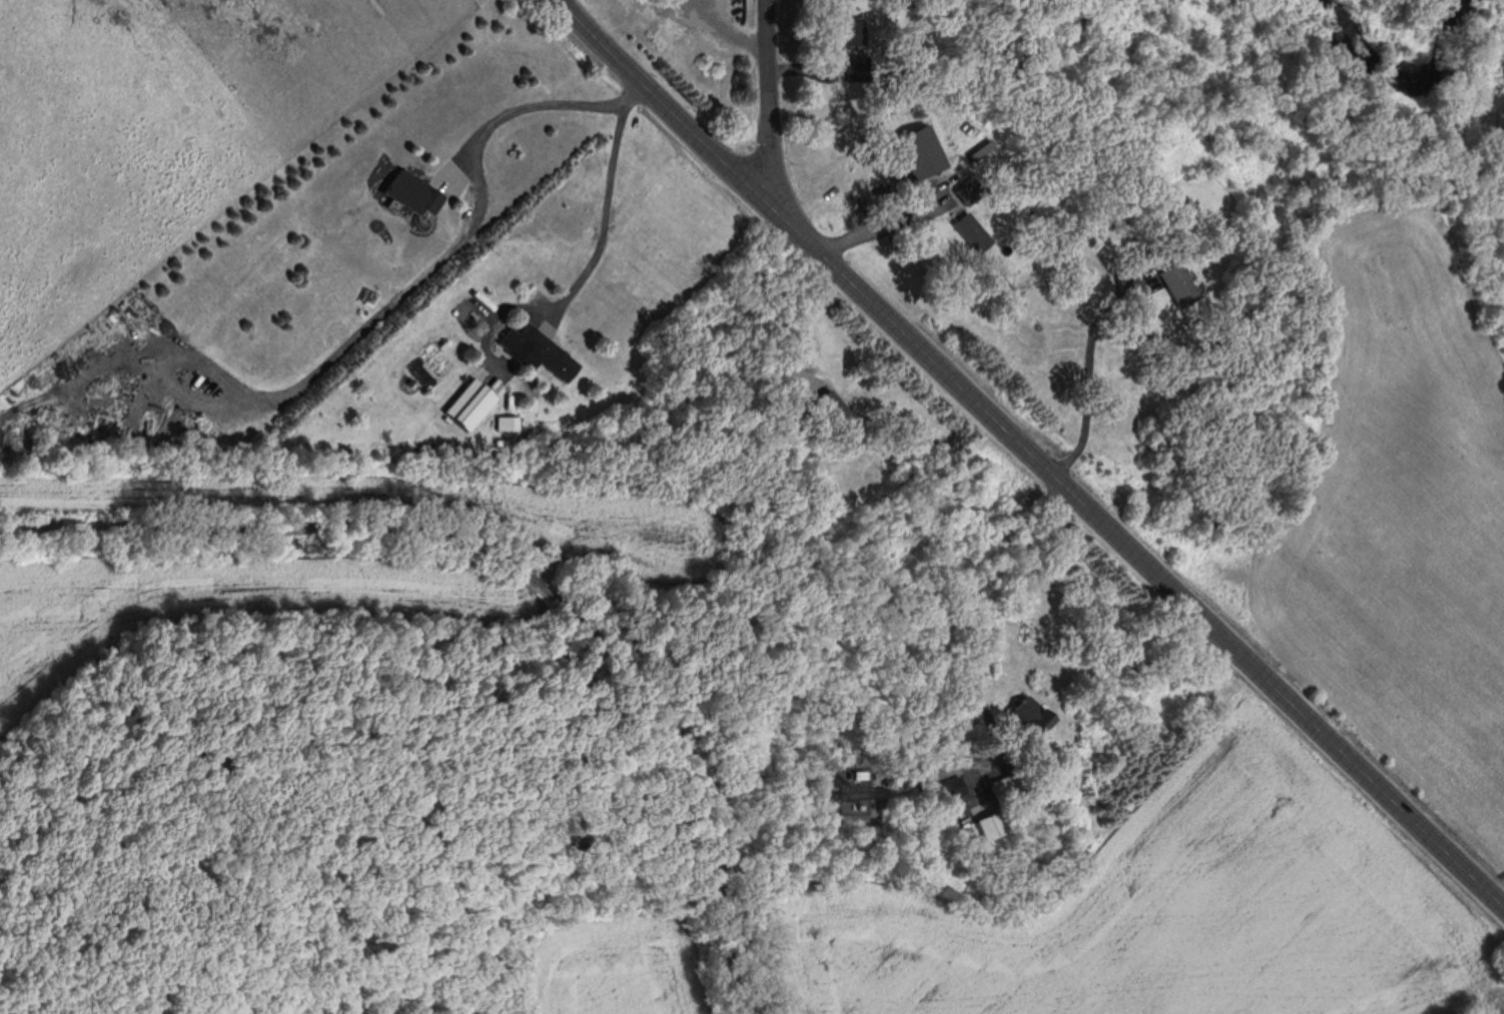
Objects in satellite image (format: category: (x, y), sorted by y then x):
building: (837, 39)
road: (769, 104)
road: (532, 105)
building: (911, 155)
building: (409, 193)
building: (962, 194)
road: (603, 202)
building: (965, 234)
building: (1127, 256)
building: (1167, 287)
building: (550, 356)
building: (471, 406)
building: (835, 411)
road: (1031, 454)
building: (1035, 724)
building: (954, 789)
building: (1005, 789)
building: (989, 826)
road: (1500, 1010)

